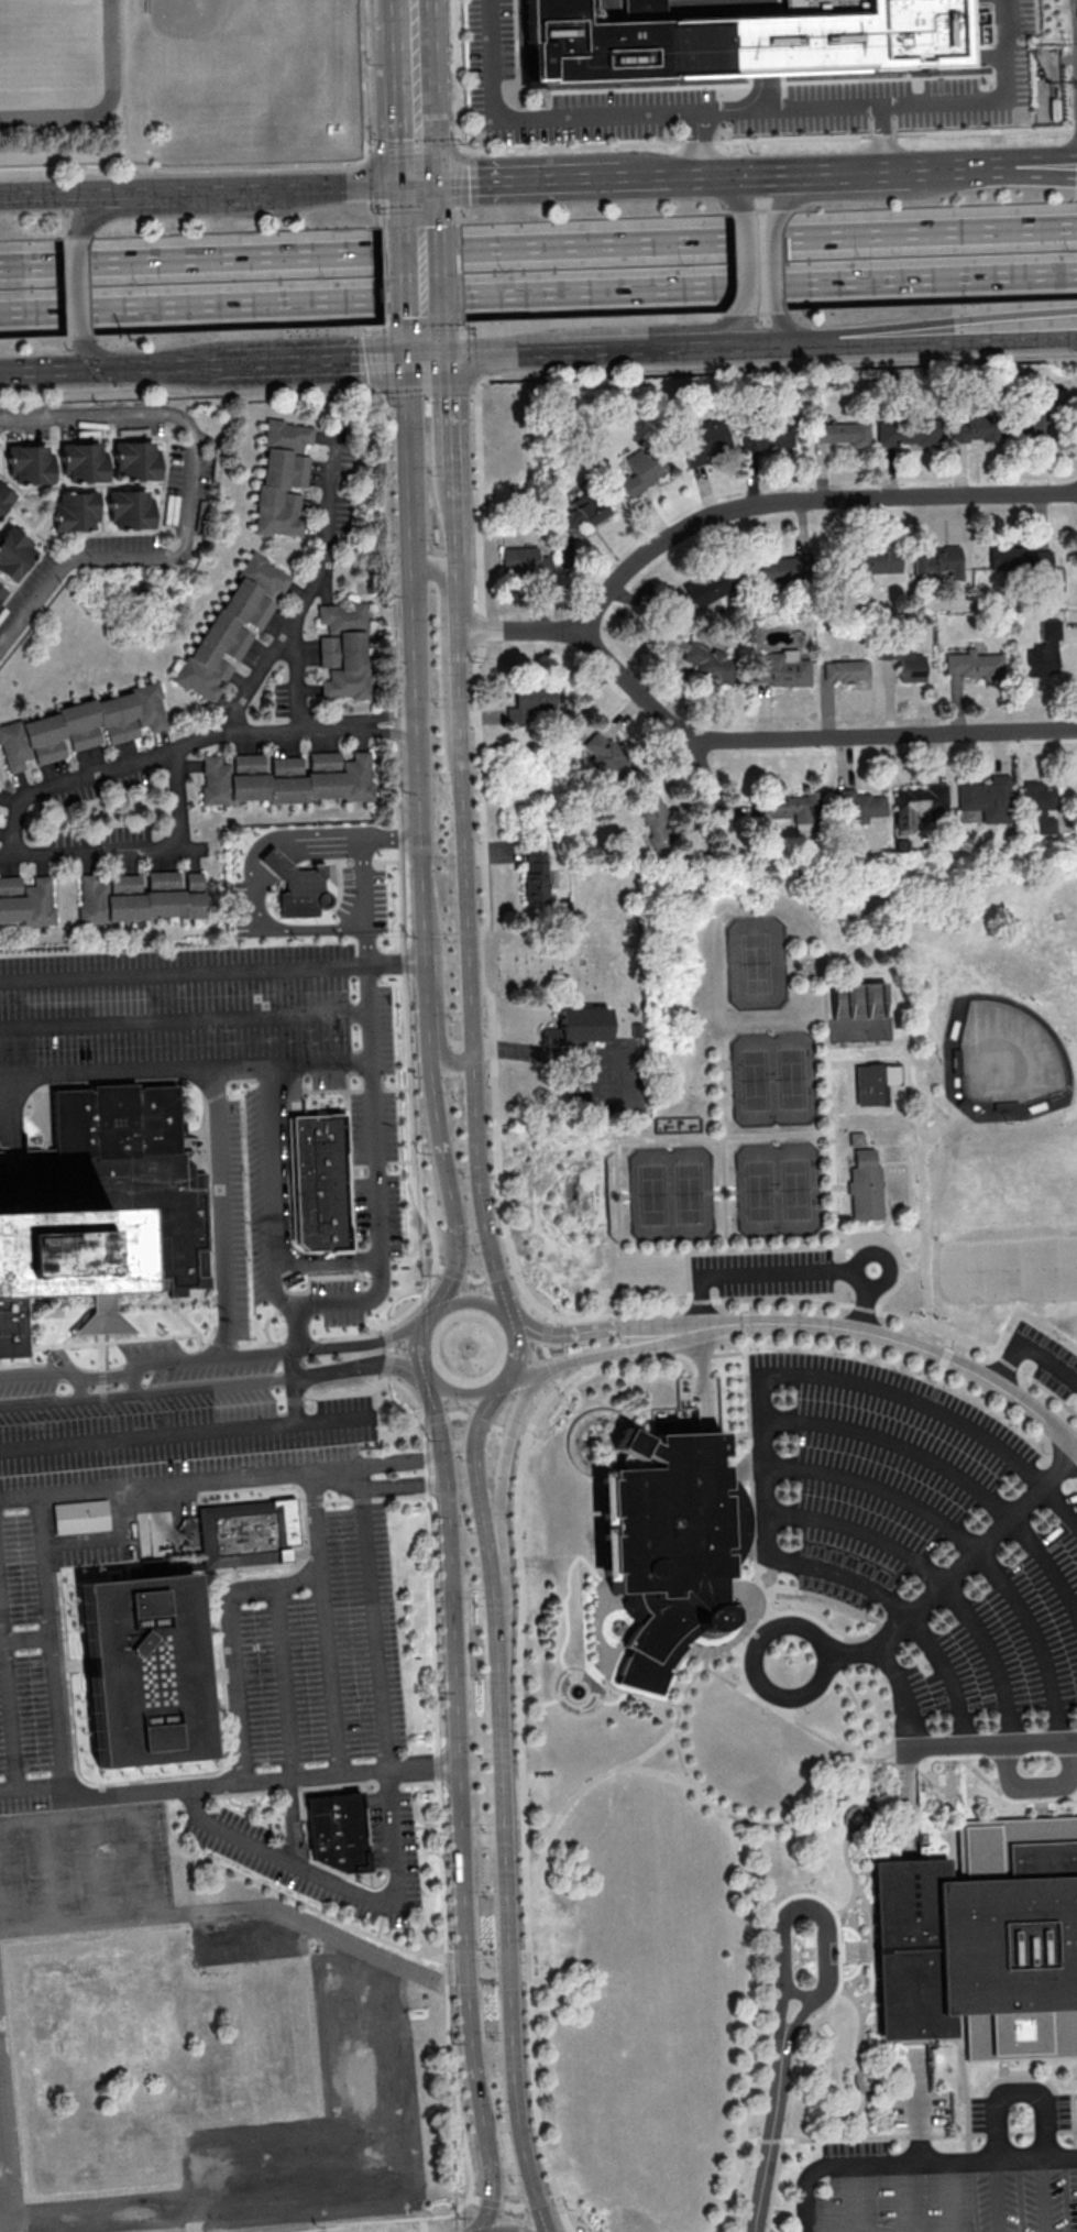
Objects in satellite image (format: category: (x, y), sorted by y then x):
building: (998, 2)
road: (413, 4)
building: (875, 34)
road: (766, 39)
building: (649, 43)
park: (208, 44)
road: (458, 73)
road: (360, 78)
road: (123, 84)
road: (416, 97)
road: (964, 101)
road: (106, 106)
road: (749, 108)
road: (824, 108)
road: (570, 114)
road: (768, 138)
road: (461, 147)
road: (419, 154)
road: (1037, 155)
road: (365, 160)
road: (954, 165)
road: (897, 166)
road: (182, 167)
road: (840, 168)
road: (756, 172)
traffic signals: (725, 173)
road: (664, 174)
road: (1037, 175)
road: (516, 179)
traffic signals: (419, 184)
road: (356, 185)
road: (233, 189)
road: (736, 193)
road: (86, 194)
road: (883, 194)
road: (419, 205)
road: (207, 208)
road: (383, 216)
road: (457, 217)
road: (538, 247)
road: (458, 249)
road: (384, 252)
road: (777, 262)
road: (749, 264)
road: (422, 275)
road: (79, 286)
road: (538, 293)
road: (459, 296)
road: (386, 298)
road: (943, 320)
road: (460, 326)
road: (387, 327)
road: (784, 329)
road: (736, 330)
road: (425, 340)
road: (945, 340)
road: (801, 344)
road: (756, 347)
road: (646, 351)
road: (94, 354)
road: (469, 355)
road: (496, 357)
traffic signals: (426, 358)
road: (321, 360)
road: (774, 365)
road: (109, 369)
traffic signals: (112, 369)
road: (398, 389)
road: (189, 394)
road: (450, 419)
road: (166, 420)
building: (1033, 424)
building: (976, 430)
building: (910, 433)
building: (842, 434)
building: (768, 437)
building: (708, 442)
building: (135, 461)
road: (413, 461)
building: (84, 462)
building: (31, 464)
building: (644, 470)
building: (282, 479)
building: (4, 497)
building: (130, 510)
road: (743, 511)
building: (75, 512)
road: (454, 517)
building: (580, 517)
building: (14, 552)
building: (1020, 559)
building: (521, 560)
building: (877, 561)
building: (942, 562)
road: (66, 569)
road: (455, 570)
building: (785, 570)
road: (439, 573)
building: (710, 589)
building: (2, 592)
road: (310, 594)
road: (457, 611)
building: (233, 625)
building: (1046, 650)
building: (344, 653)
building: (711, 663)
building: (910, 664)
building: (975, 665)
building: (781, 670)
building: (847, 671)
road: (458, 685)
building: (535, 704)
building: (81, 727)
road: (809, 740)
road: (191, 746)
building: (605, 756)
road: (424, 766)
building: (288, 779)
road: (714, 788)
building: (988, 799)
building: (919, 803)
building: (859, 806)
building: (1042, 806)
building: (794, 809)
building: (658, 821)
road: (134, 849)
road: (483, 858)
building: (338, 868)
road: (366, 874)
building: (537, 876)
building: (142, 897)
building: (26, 901)
road: (465, 904)
road: (804, 961)
park: (757, 965)
road: (215, 973)
building: (859, 998)
parking lot: (180, 1003)
road: (431, 1011)
road: (371, 1014)
park: (861, 1014)
building: (954, 1029)
building: (579, 1030)
building: (637, 1032)
road: (860, 1046)
park: (1007, 1055)
road: (613, 1059)
road: (452, 1065)
road: (900, 1068)
road: (822, 1079)
park: (772, 1081)
building: (956, 1081)
road: (854, 1087)
road: (213, 1104)
road: (829, 1104)
building: (1038, 1107)
road: (879, 1108)
road: (439, 1120)
road: (921, 1127)
building: (857, 1140)
road: (376, 1174)
park: (1022, 1181)
road: (481, 1185)
park: (898, 1185)
building: (865, 1188)
road: (827, 1190)
park: (779, 1191)
road: (725, 1193)
road: (725, 1194)
park: (672, 1195)
road: (625, 1199)
road: (618, 1200)
building: (99, 1203)
parking lot: (301, 1204)
road: (923, 1216)
road: (886, 1224)
road: (458, 1238)
road: (911, 1243)
road: (899, 1255)
road: (888, 1262)
park: (1009, 1272)
parking lot: (766, 1274)
road: (705, 1277)
road: (452, 1294)
road: (865, 1310)
road: (647, 1315)
road: (1027, 1319)
road: (895, 1320)
road: (602, 1327)
road: (525, 1333)
road: (892, 1342)
road: (319, 1347)
road: (546, 1352)
road: (1029, 1352)
road: (598, 1357)
road: (419, 1358)
road: (649, 1359)
road: (180, 1361)
parking lot: (1047, 1363)
road: (37, 1374)
road: (108, 1375)
road: (281, 1378)
road: (136, 1380)
road: (79, 1385)
road: (108, 1394)
road: (476, 1396)
road: (42, 1400)
road: (935, 1412)
parking lot: (185, 1424)
road: (330, 1424)
road: (479, 1424)
road: (735, 1436)
road: (174, 1437)
road: (506, 1448)
road: (735, 1460)
road: (750, 1462)
road: (762, 1465)
road: (744, 1466)
road: (948, 1474)
road: (175, 1485)
road: (481, 1495)
road: (21, 1499)
building: (81, 1517)
road: (730, 1518)
building: (249, 1533)
parking lot: (922, 1541)
road: (968, 1543)
building: (668, 1547)
road: (755, 1552)
park: (810, 1563)
road: (955, 1569)
road: (595, 1577)
road: (936, 1578)
road: (238, 1590)
road: (902, 1613)
road: (373, 1621)
road: (858, 1640)
parking lot: (317, 1652)
road: (836, 1654)
parking lot: (26, 1666)
building: (146, 1671)
road: (331, 1682)
road: (578, 1682)
road: (558, 1683)
road: (287, 1685)
fountain: (576, 1691)
road: (585, 1697)
road: (780, 1697)
road: (579, 1705)
road: (586, 1707)
road: (460, 1710)
road: (8, 1716)
road: (992, 1744)
road: (908, 1748)
road: (650, 1749)
road: (876, 1762)
road: (996, 1774)
road: (933, 1776)
road: (871, 1787)
road: (33, 1791)
road: (1042, 1792)
road: (156, 1793)
road: (1011, 1802)
road: (521, 1805)
road: (1041, 1809)
road: (950, 1819)
road: (848, 1824)
road: (750, 1825)
building: (337, 1831)
road: (729, 1837)
parking lot: (327, 1842)
building: (1016, 1850)
road: (343, 1875)
road: (508, 1883)
road: (811, 1897)
road: (850, 1904)
road: (244, 1906)
road: (811, 1906)
road: (858, 1906)
building: (1013, 1944)
road: (869, 1947)
building: (913, 1950)
road: (858, 1952)
road: (855, 1999)
road: (858, 2007)
building: (1020, 2033)
road: (1021, 2070)
road: (1021, 2080)
road: (859, 2086)
road: (964, 2088)
road: (1019, 2092)
road: (919, 2109)
parking lot: (919, 2111)
parking lot: (1057, 2114)
road: (848, 2116)
parking lot: (983, 2118)
road: (1075, 2126)
road: (777, 2134)
road: (487, 2137)
road: (931, 2137)
road: (771, 2141)
road: (6, 2155)
road: (914, 2164)
road: (399, 2178)
road: (730, 2180)
parking lot: (939, 2195)
road: (1047, 2196)
road: (950, 2197)
road: (999, 2197)
road: (900, 2198)
road: (853, 2199)
road: (512, 2204)
road: (110, 2217)
road: (821, 2230)

